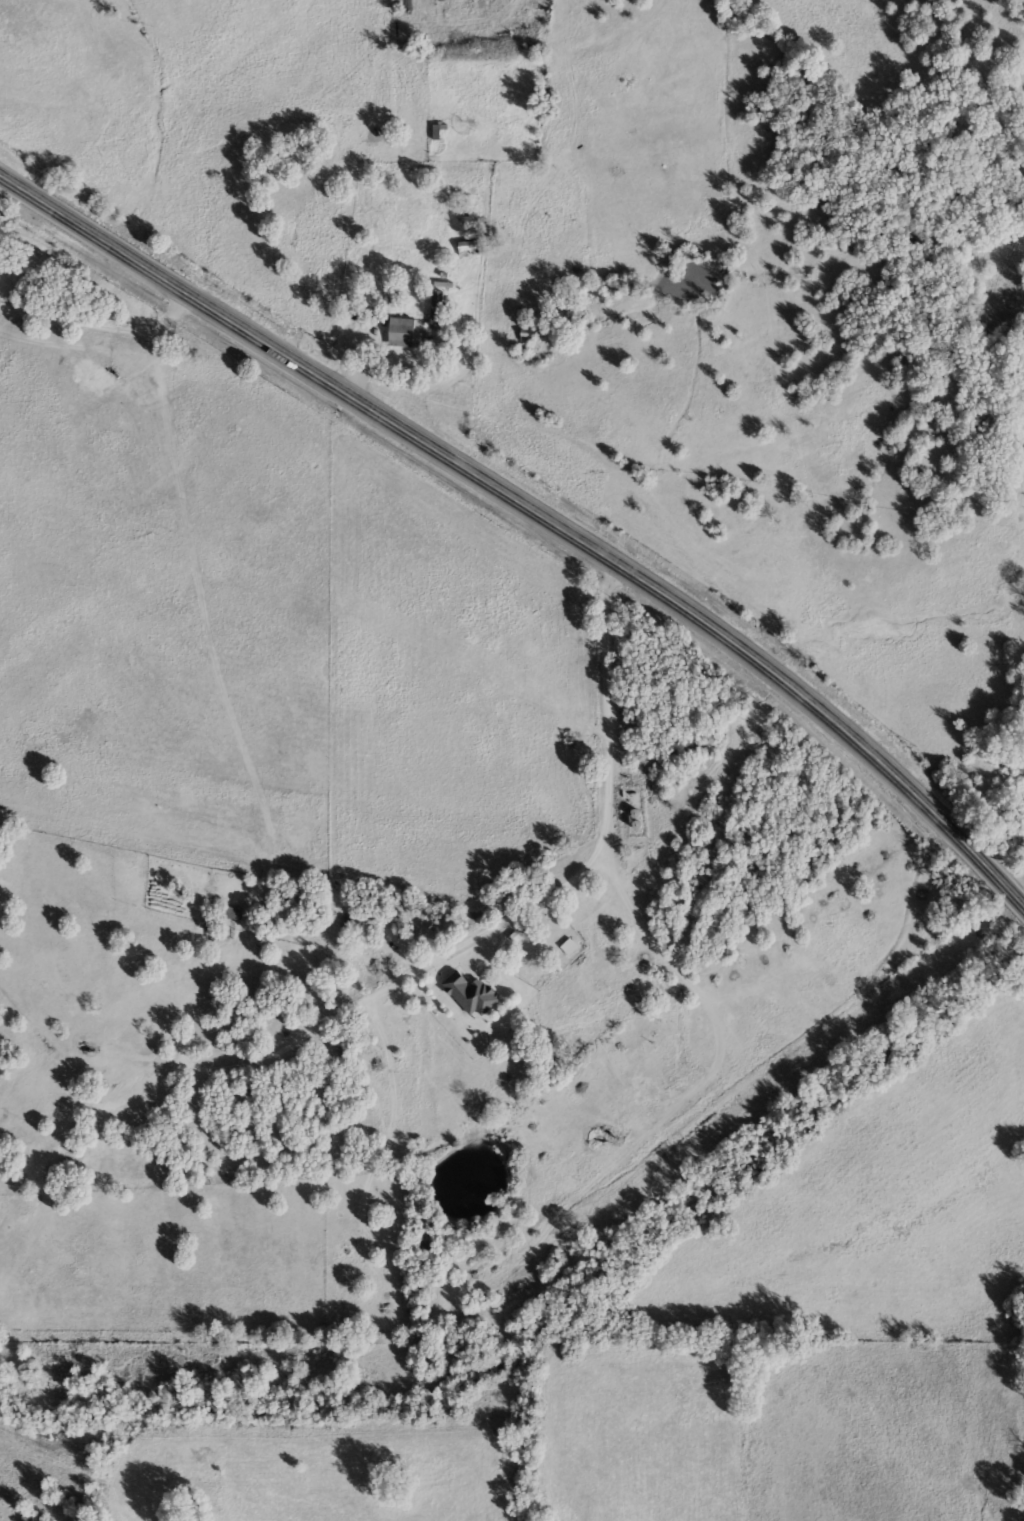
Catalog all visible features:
building: (438, 133)
building: (466, 246)
building: (435, 308)
building: (399, 330)
building: (524, 331)
road: (532, 509)
road: (608, 849)
building: (230, 910)
building: (567, 945)
building: (467, 991)

